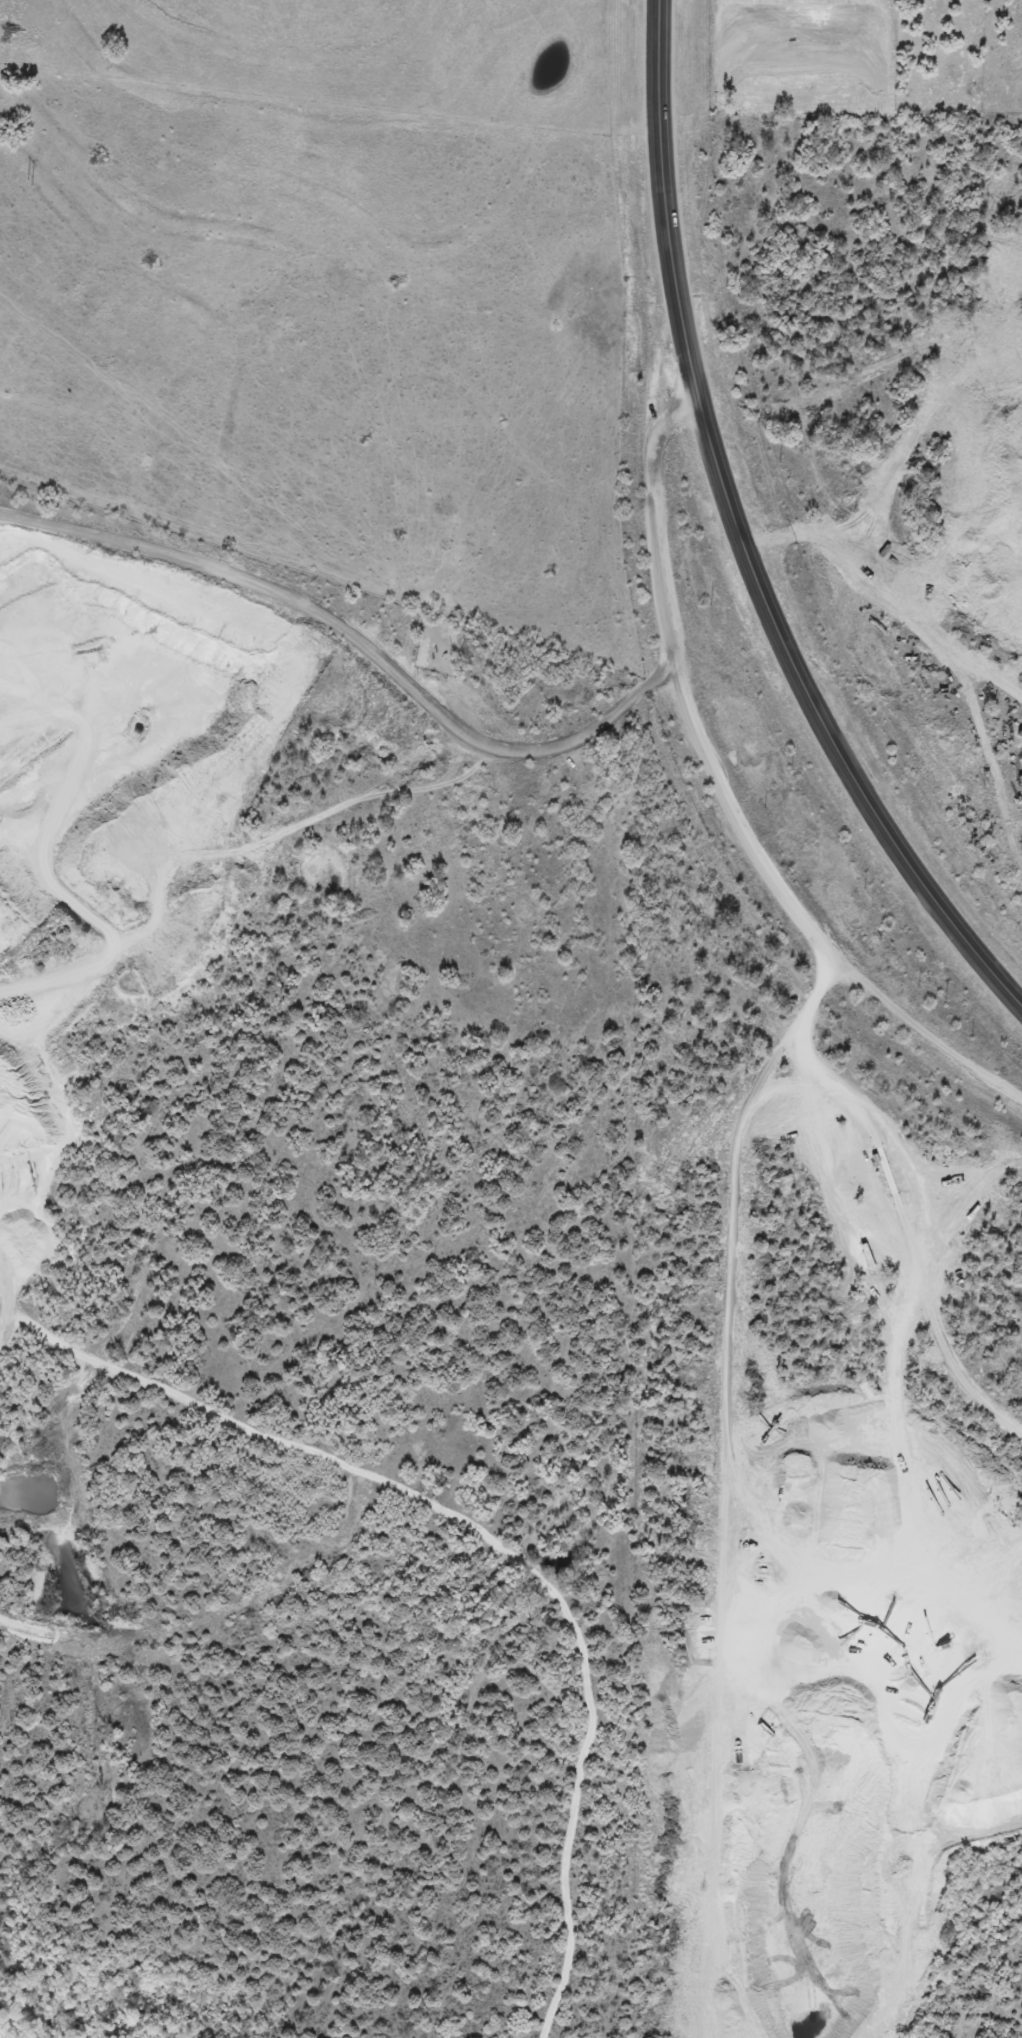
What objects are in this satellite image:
road: (738, 538)
road: (486, 774)
road: (72, 904)
road: (853, 1122)
road: (827, 1774)

